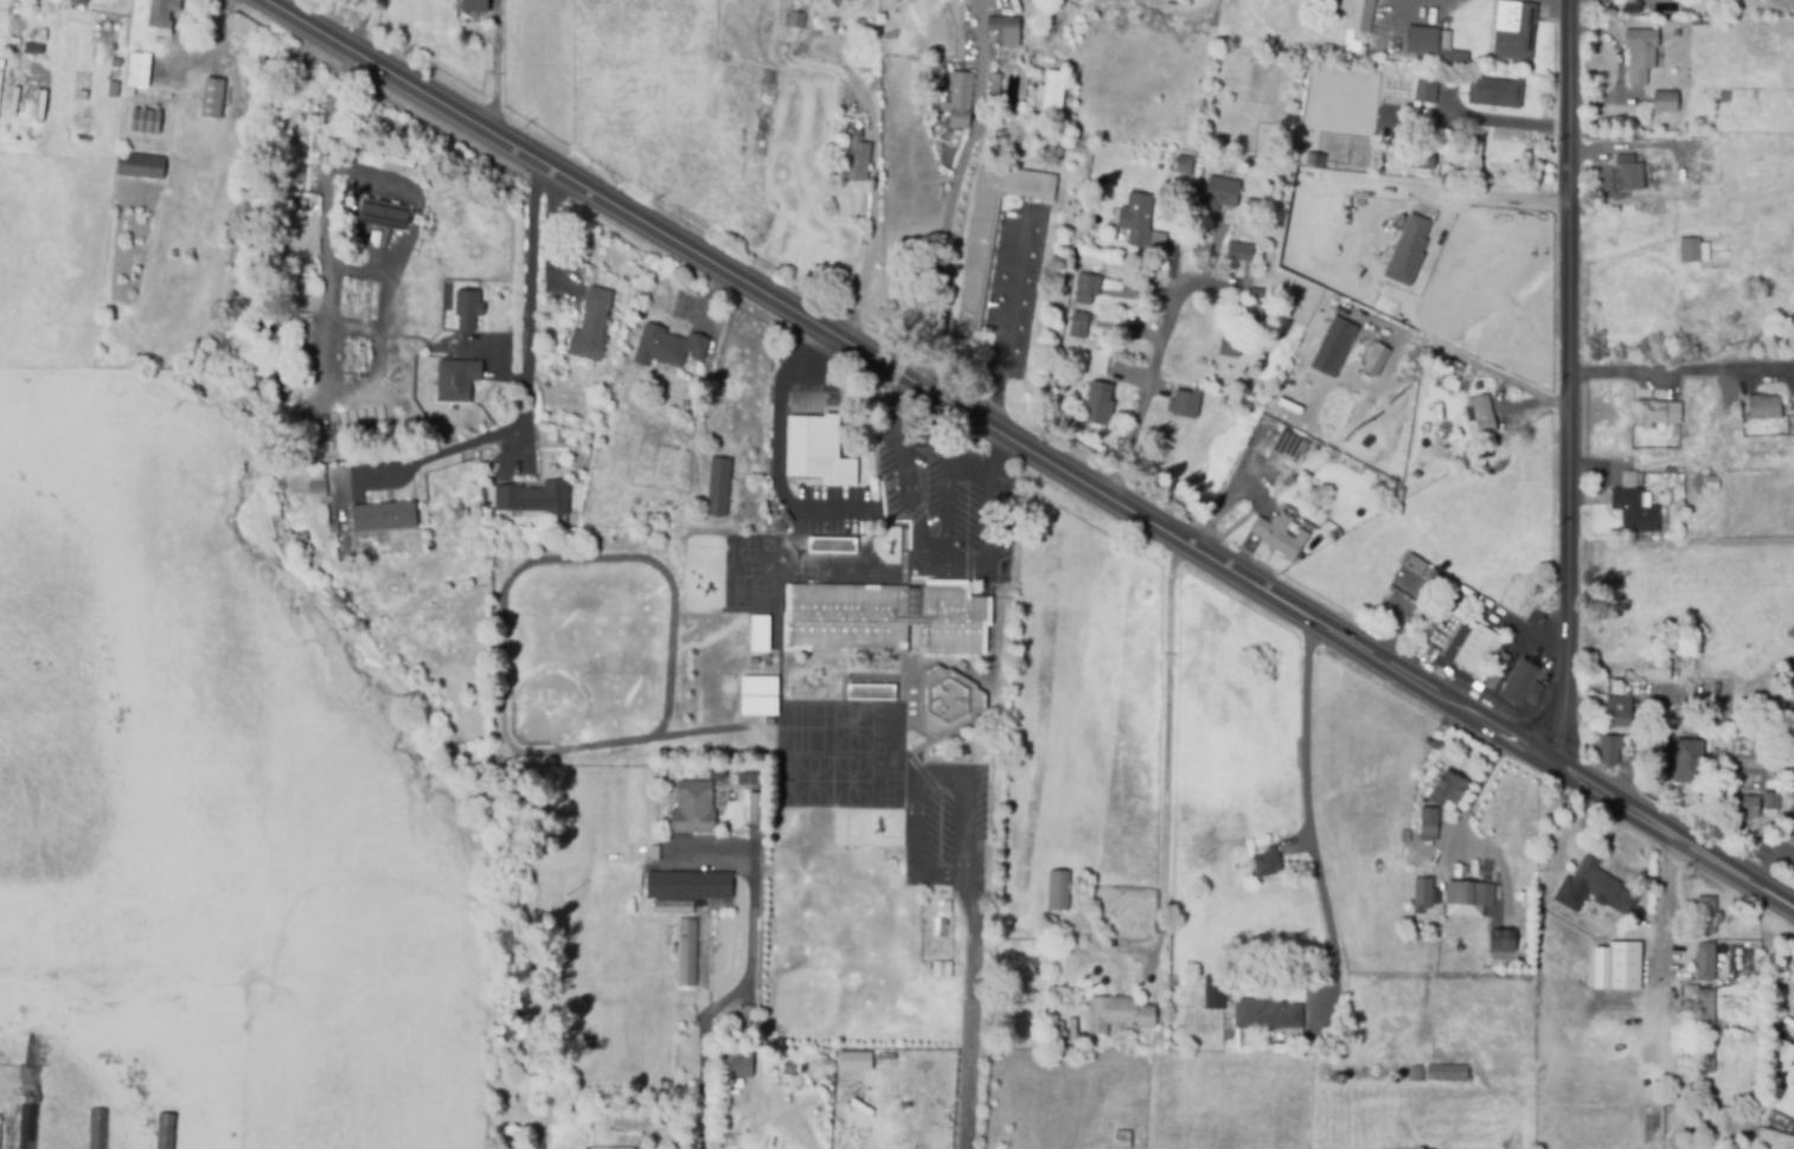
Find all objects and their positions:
building: (77, 1)
road: (1536, 2)
building: (128, 4)
building: (55, 5)
building: (473, 8)
building: (1638, 8)
building: (160, 15)
building: (1360, 15)
building: (1007, 30)
building: (1516, 30)
building: (1434, 46)
building: (1645, 53)
building: (139, 70)
building: (995, 86)
building: (19, 88)
building: (1425, 90)
building: (1495, 92)
building: (1051, 96)
building: (1725, 96)
building: (212, 98)
building: (961, 98)
building: (1666, 101)
building: (143, 121)
building: (1015, 134)
road: (1625, 147)
building: (1284, 158)
building: (1422, 158)
building: (856, 160)
building: (1313, 162)
building: (137, 165)
building: (1184, 166)
building: (1630, 172)
building: (1223, 192)
road: (955, 193)
road: (1456, 194)
building: (1337, 197)
building: (382, 214)
building: (1307, 214)
building: (1138, 219)
building: (992, 232)
building: (1158, 239)
road: (870, 243)
building: (1409, 250)
building: (1691, 250)
building: (1239, 253)
building: (1132, 270)
road: (384, 274)
building: (1129, 278)
building: (1087, 288)
building: (1256, 293)
building: (469, 307)
building: (1252, 316)
building: (1079, 325)
building: (591, 326)
road: (1007, 326)
building: (666, 346)
building: (1231, 346)
building: (1334, 346)
building: (1376, 358)
road: (1465, 360)
building: (1100, 361)
road: (1680, 374)
building: (459, 378)
road: (528, 378)
road: (808, 378)
road: (1568, 384)
road: (1148, 389)
building: (604, 391)
building: (1793, 396)
building: (1185, 403)
building: (1098, 404)
building: (1764, 406)
building: (1660, 412)
building: (1480, 415)
road: (962, 416)
building: (1287, 445)
building: (816, 447)
road: (782, 460)
road: (999, 460)
building: (1710, 482)
building: (1379, 484)
building: (316, 487)
building: (718, 489)
building: (533, 498)
building: (1634, 505)
road: (946, 508)
building: (456, 512)
building: (383, 515)
road: (916, 519)
building: (333, 528)
building: (1279, 534)
building: (1335, 534)
building: (831, 545)
building: (884, 618)
building: (1440, 628)
road: (1523, 630)
building: (760, 634)
building: (1476, 650)
building: (1657, 669)
building: (1493, 674)
building: (1520, 683)
building: (760, 687)
building: (870, 692)
building: (948, 699)
building: (760, 707)
building: (1617, 711)
building: (1609, 749)
building: (1687, 760)
building: (749, 778)
road: (920, 781)
road: (1165, 781)
building: (1447, 789)
building: (1771, 801)
building: (696, 805)
road: (1308, 805)
building: (1747, 807)
building: (756, 808)
building: (1429, 822)
building: (1790, 835)
building: (1269, 862)
road: (1734, 864)
building: (688, 884)
building: (1588, 887)
building: (1058, 888)
building: (1469, 893)
building: (1424, 894)
building: (672, 907)
building: (1706, 914)
building: (1500, 939)
road: (1668, 941)
building: (685, 952)
building: (1705, 962)
road: (750, 965)
building: (1625, 965)
building: (1215, 991)
building: (1704, 1007)
building: (748, 1012)
building: (1119, 1012)
road: (966, 1013)
building: (1267, 1014)
building: (33, 1049)
building: (1786, 1049)
building: (1705, 1053)
building: (853, 1061)
building: (735, 1064)
building: (1442, 1073)
building: (1793, 1081)
building: (31, 1083)
road: (782, 1118)
building: (27, 1128)
building: (96, 1129)
building: (165, 1131)
building: (1122, 1138)
building: (506, 1145)

